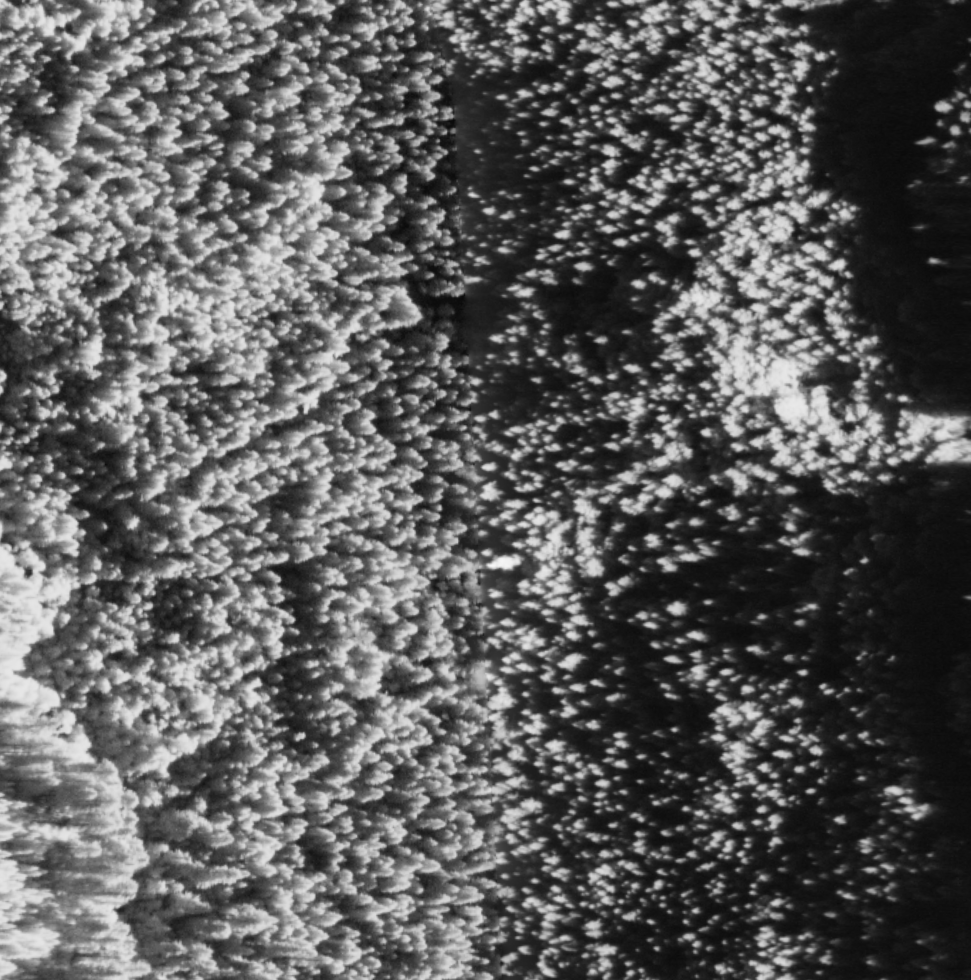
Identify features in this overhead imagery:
road: (965, 436)

